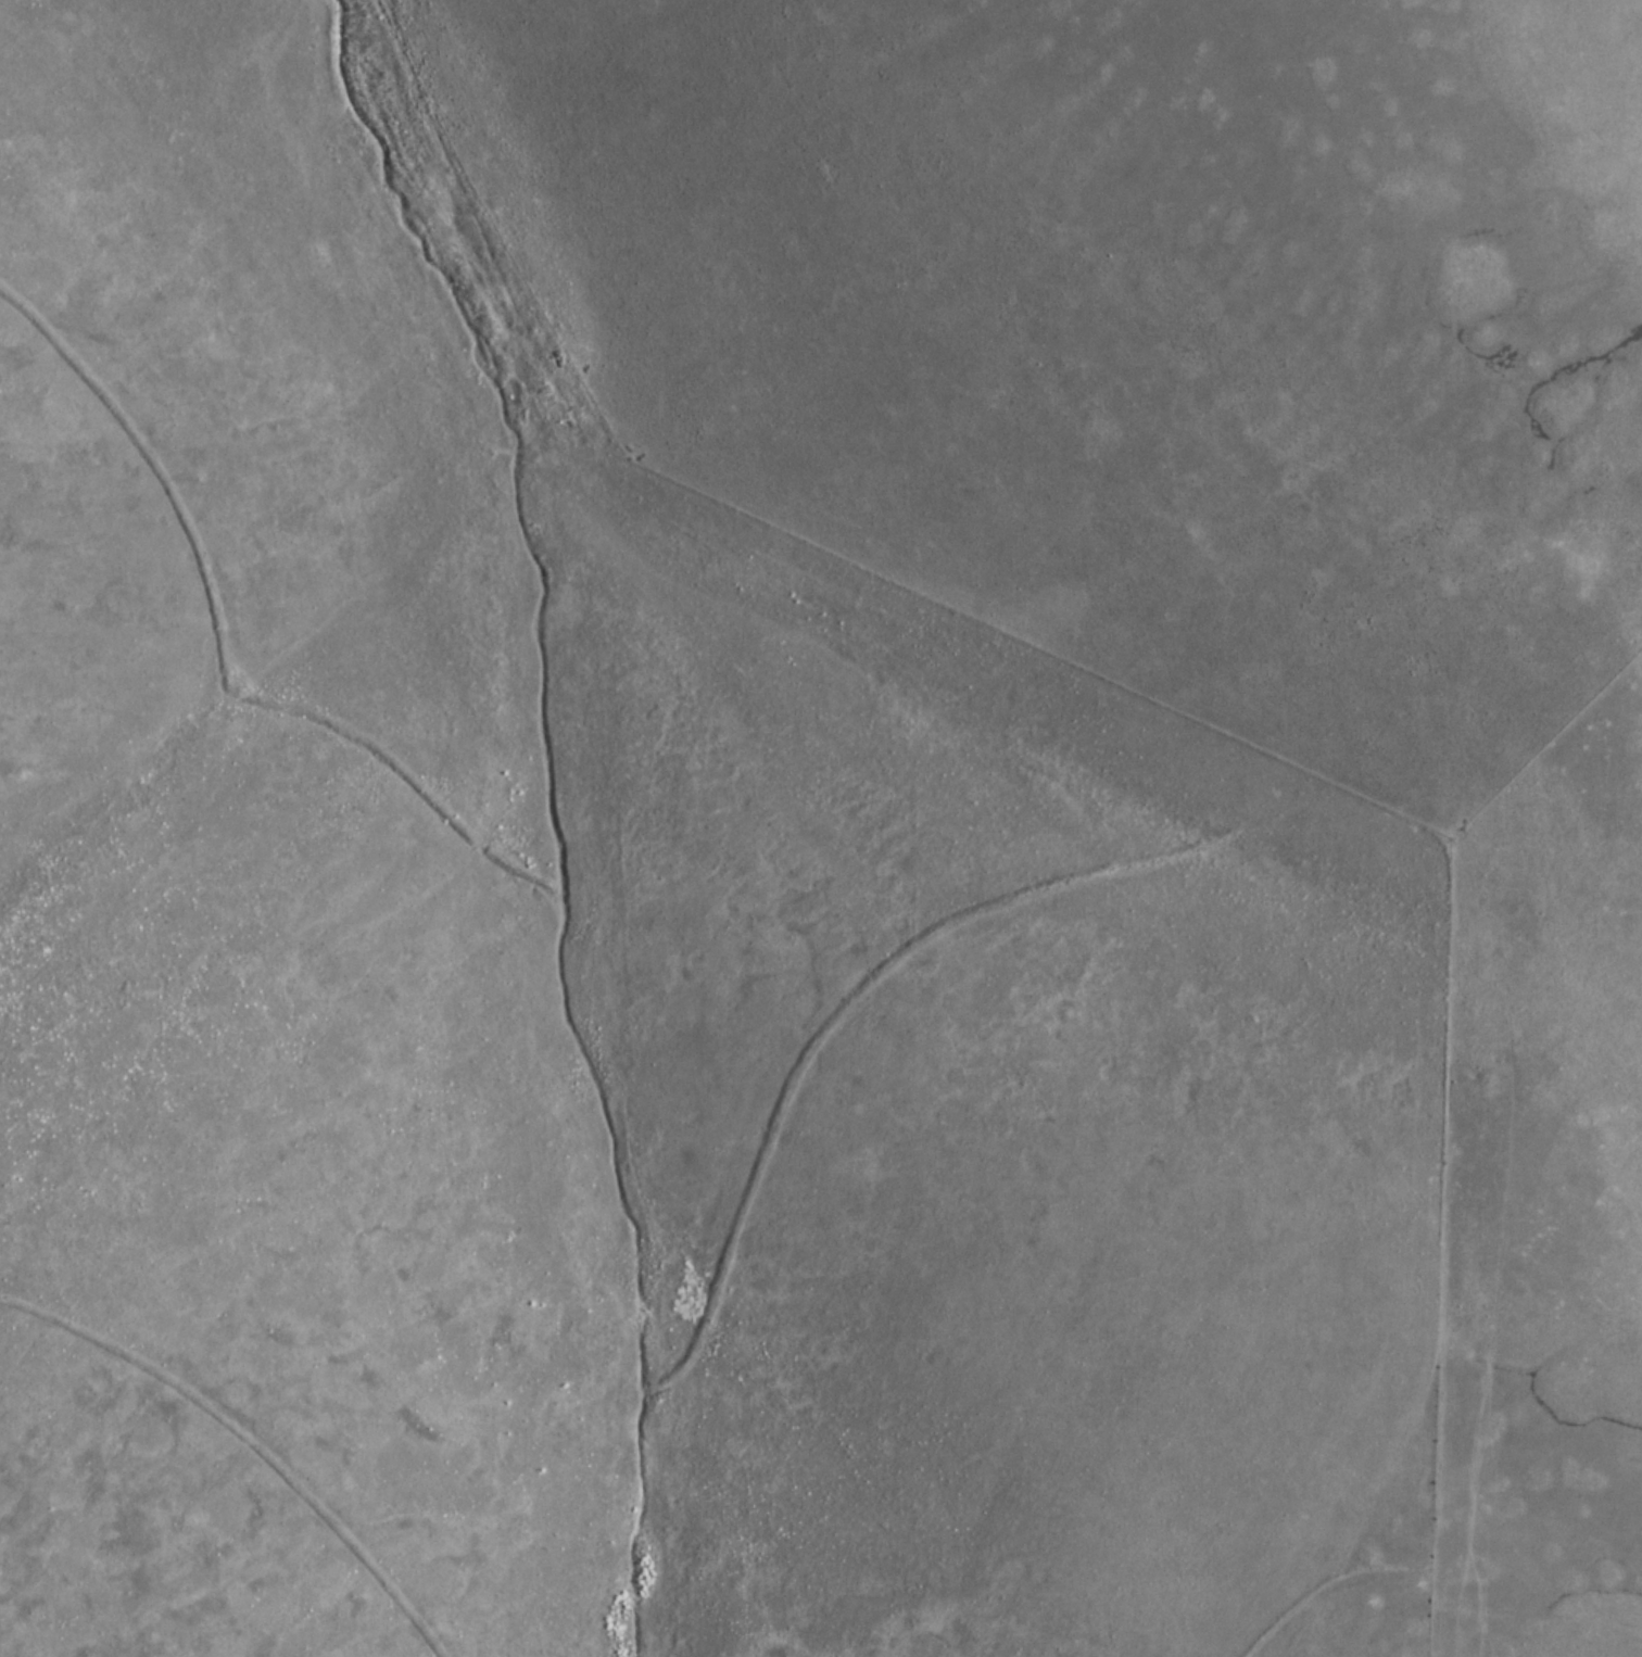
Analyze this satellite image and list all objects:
road: (441, 151)

